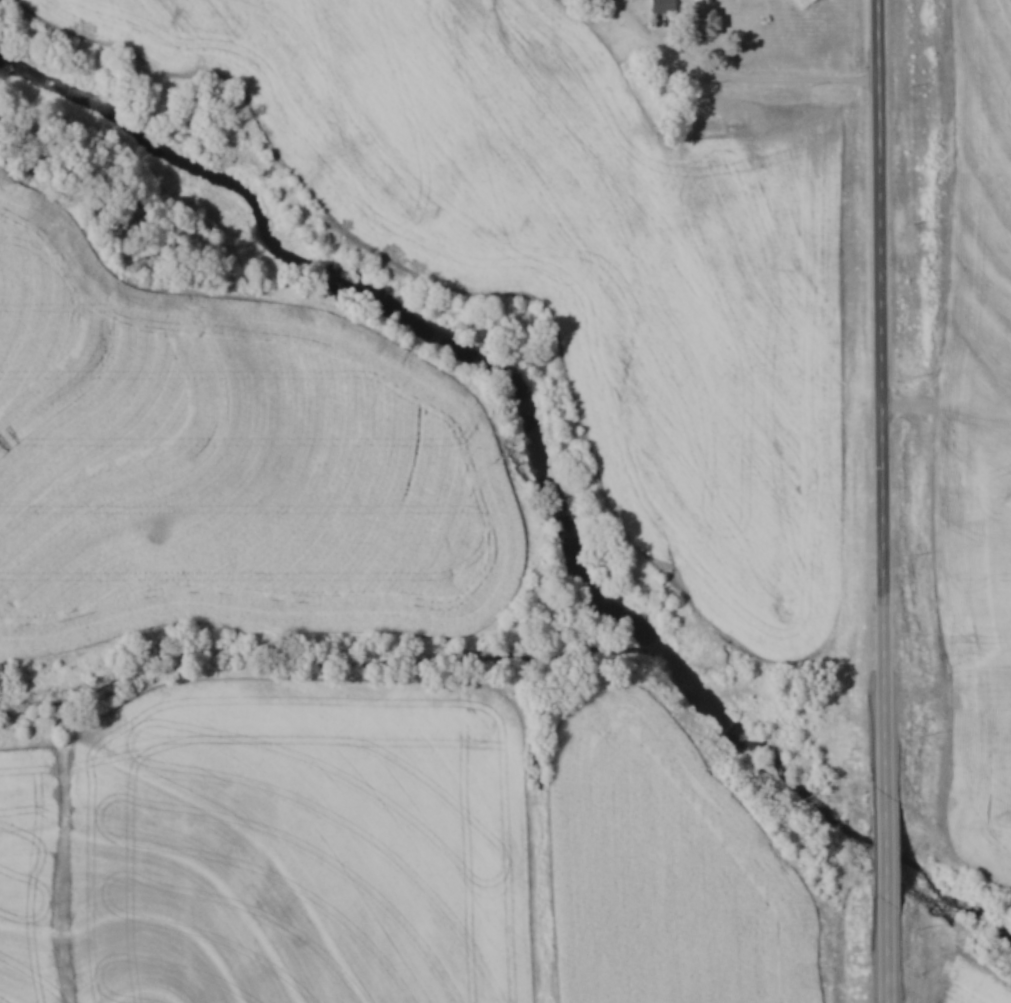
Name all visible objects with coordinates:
building: (661, 6)
building: (701, 22)
road: (757, 82)
road: (880, 406)
road: (886, 857)
road: (886, 952)

